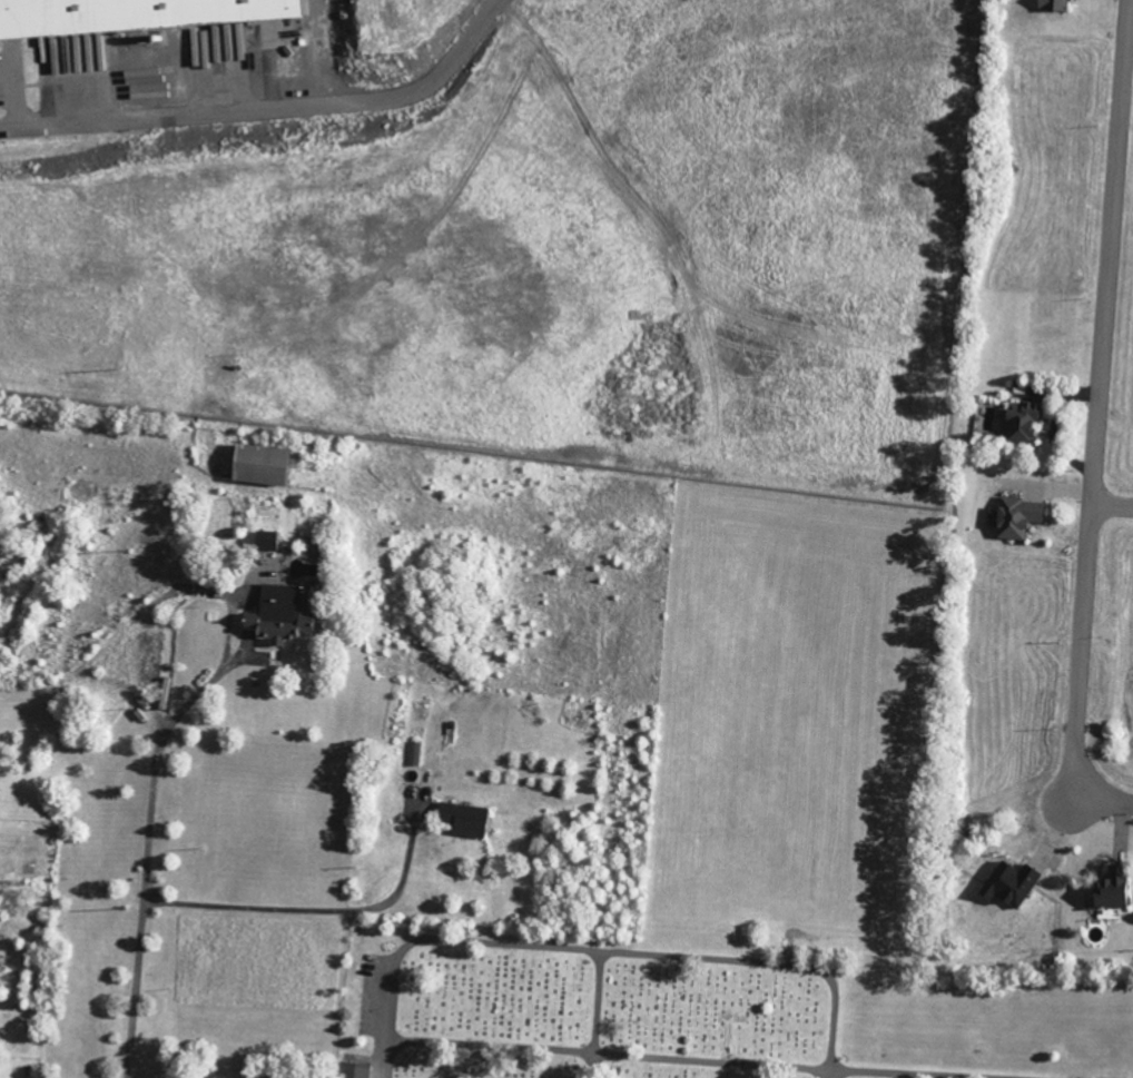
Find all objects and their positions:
building: (1051, 4)
building: (130, 14)
building: (199, 48)
road: (269, 111)
building: (1018, 419)
road: (1095, 433)
building: (260, 463)
road: (1112, 504)
building: (1015, 515)
building: (265, 540)
building: (280, 613)
building: (461, 818)
building: (1007, 882)
building: (1109, 888)
road: (144, 904)
road: (329, 910)
road: (603, 951)
park: (708, 1011)
road: (595, 1015)
road: (717, 1059)
building: (352, 1070)

